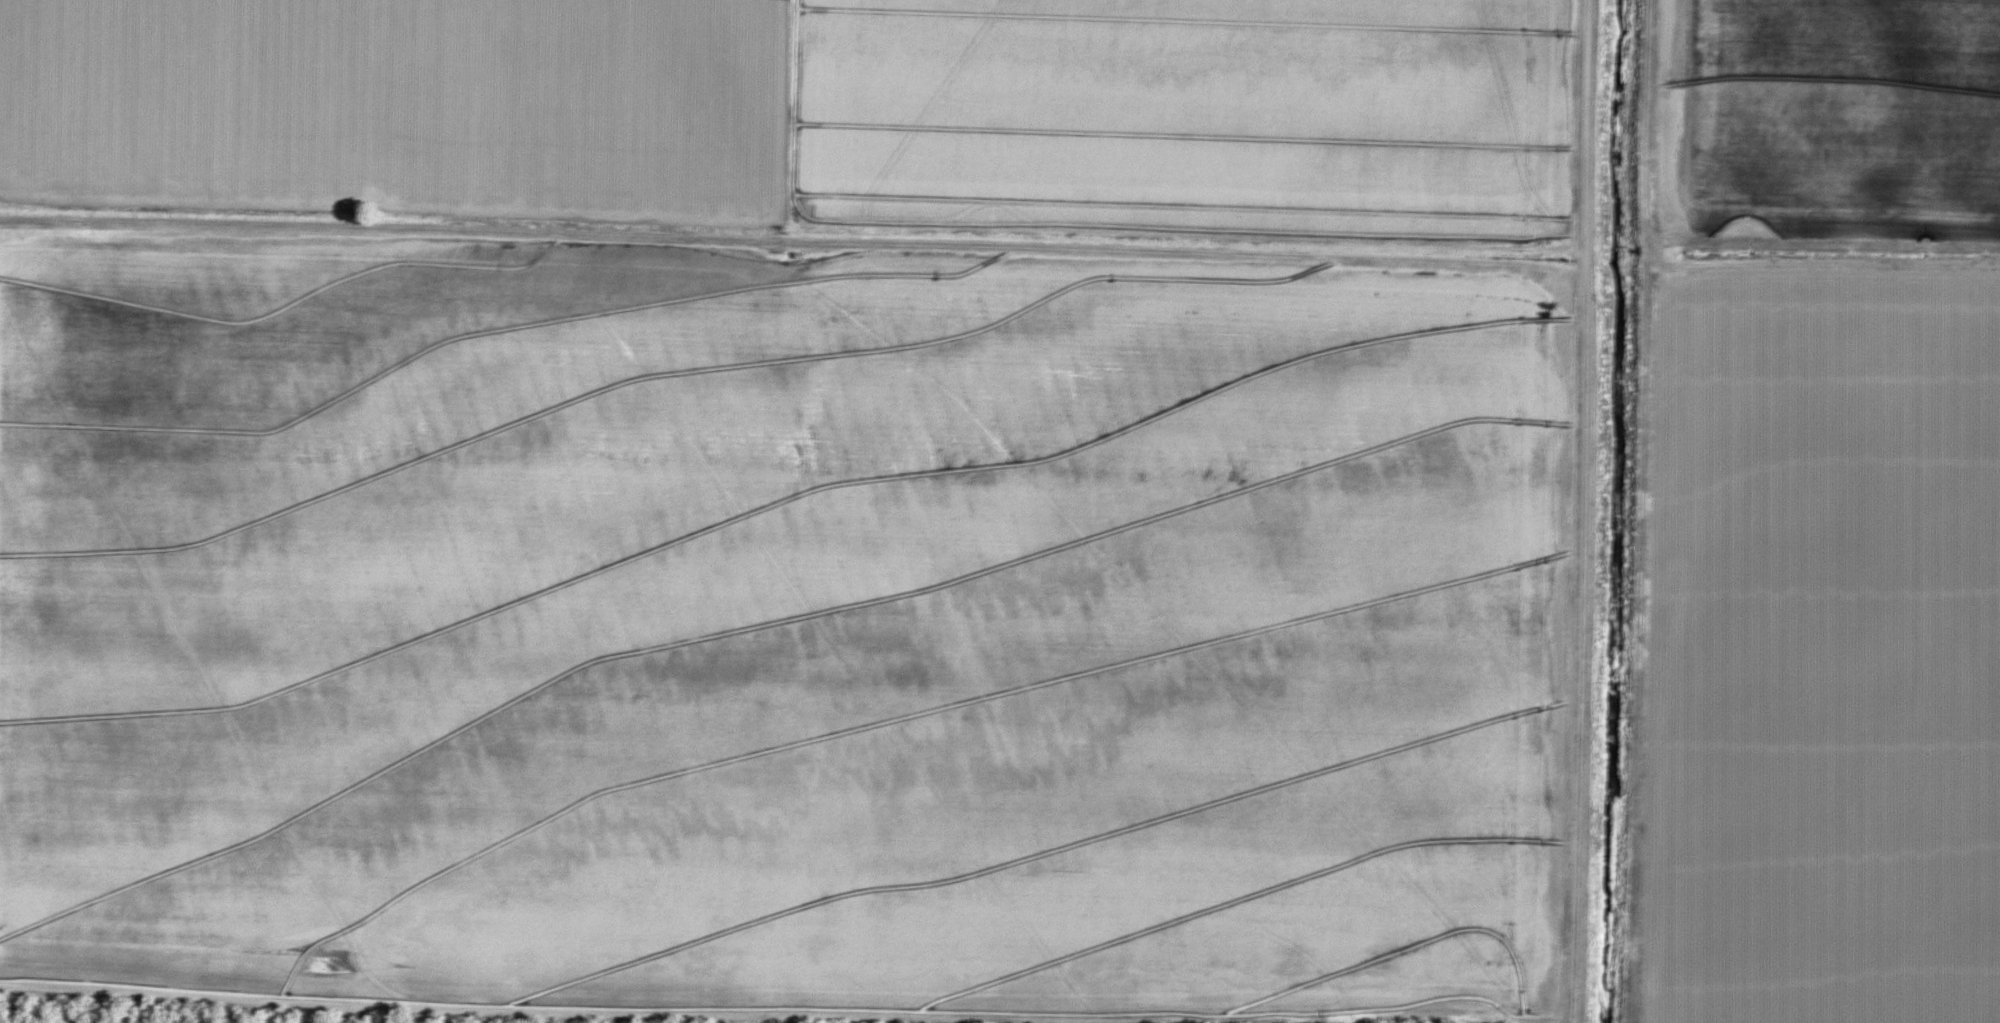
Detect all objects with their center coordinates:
road: (1587, 511)

